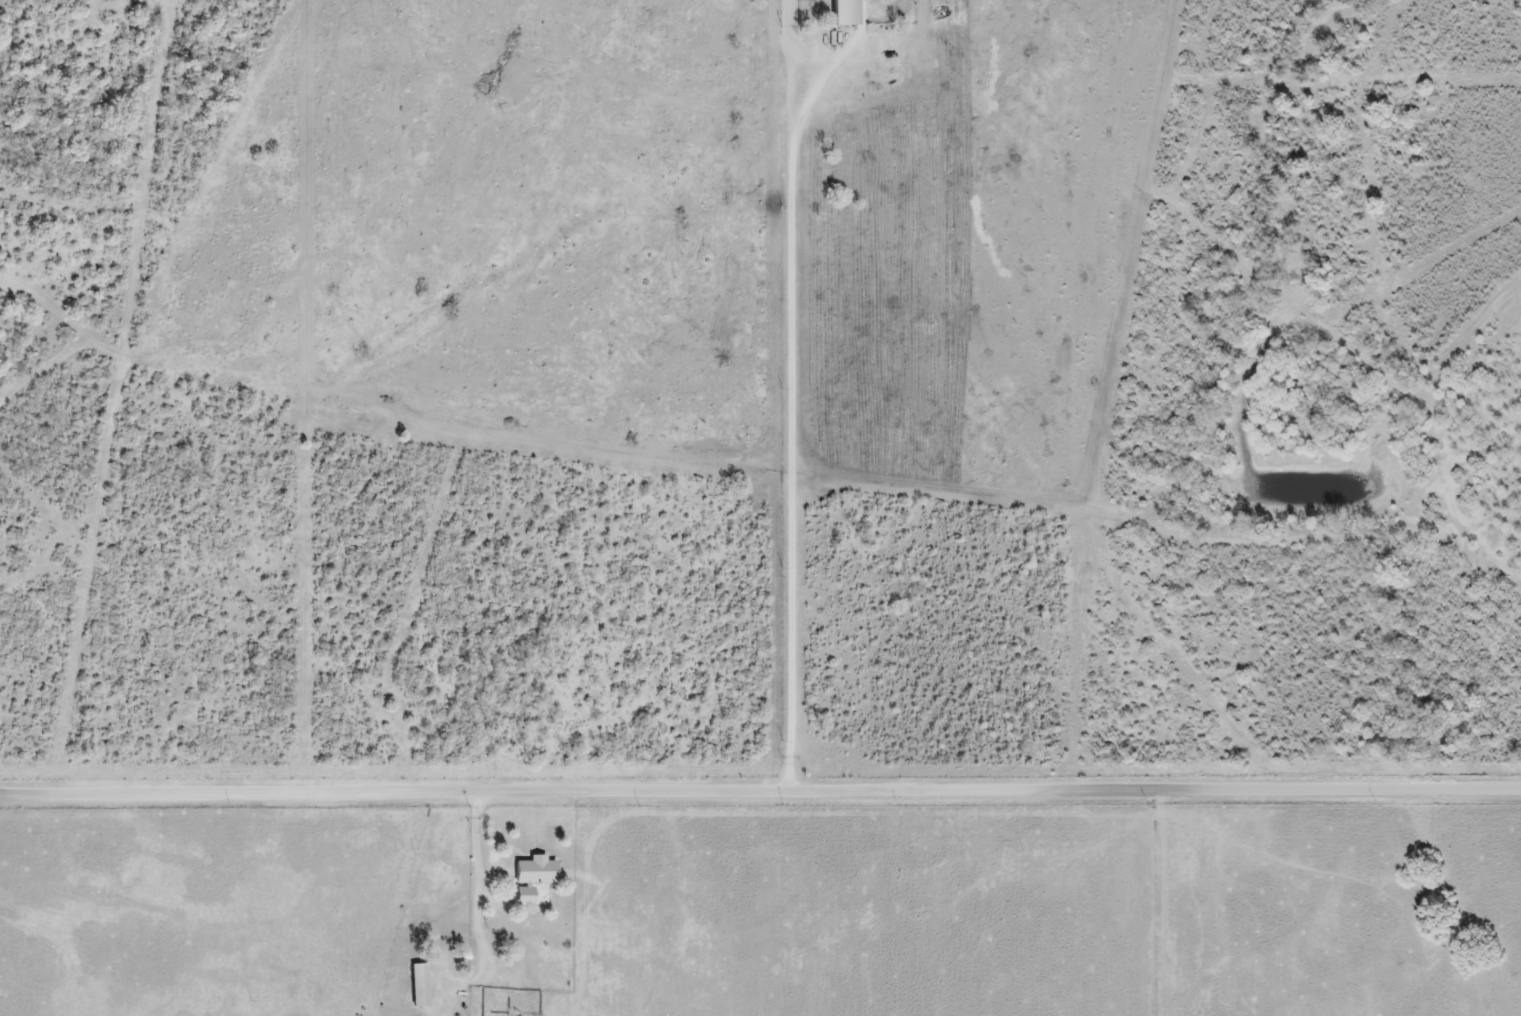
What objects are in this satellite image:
building: (848, 12)
road: (788, 407)
road: (760, 791)
road: (476, 842)
building: (536, 878)
building: (421, 987)

